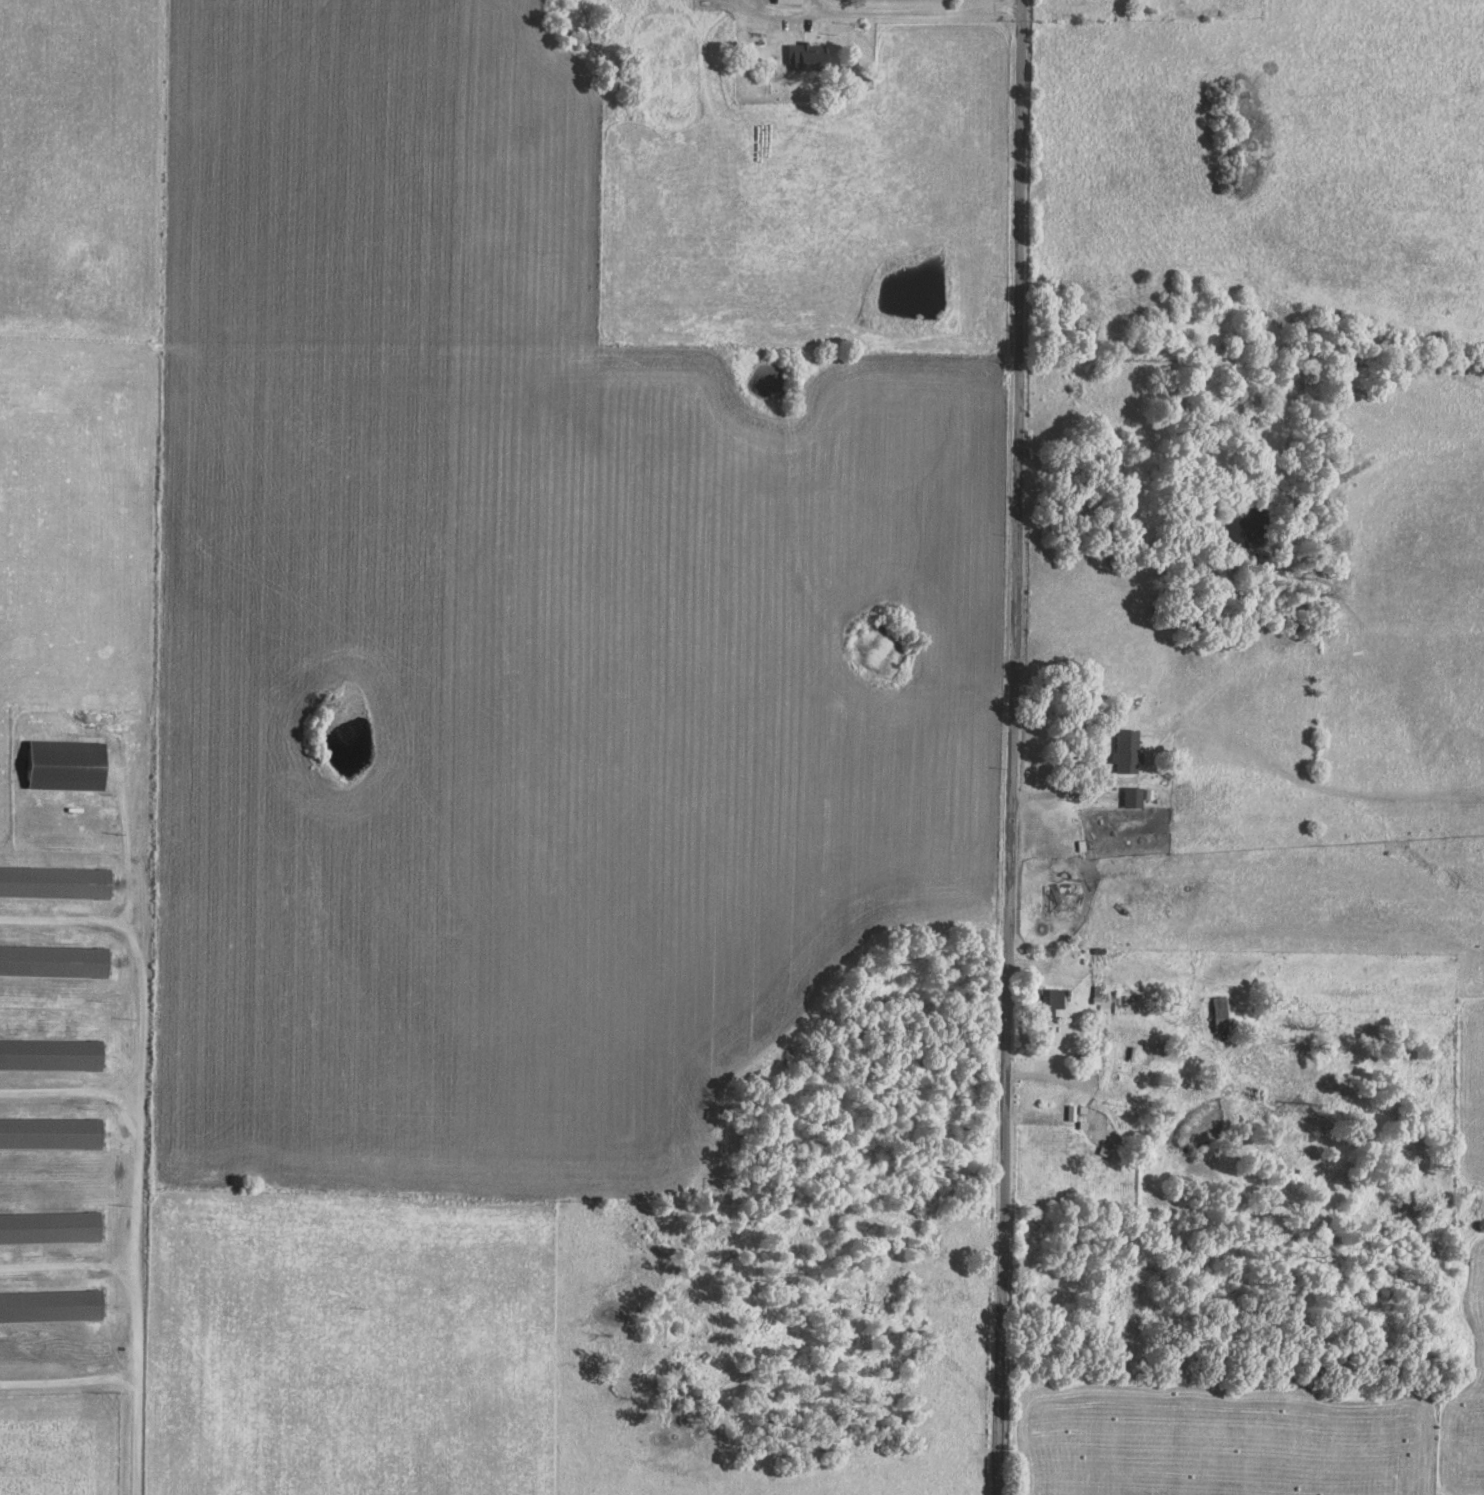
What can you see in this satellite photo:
building: (790, 1)
road: (905, 13)
building: (807, 55)
road: (1010, 747)
building: (1127, 751)
building: (66, 765)
road: (1073, 797)
building: (1133, 797)
building: (55, 881)
building: (54, 960)
building: (1050, 1000)
building: (51, 1054)
building: (1090, 1057)
road: (140, 1088)
road: (70, 1091)
building: (51, 1132)
building: (50, 1227)
road: (69, 1265)
building: (51, 1306)
road: (126, 1377)

